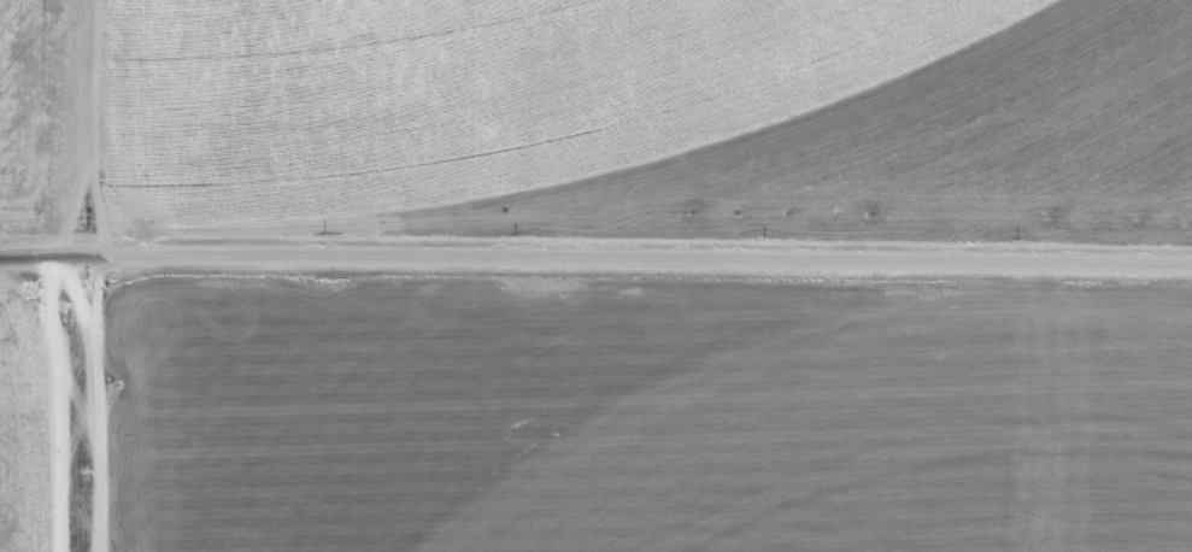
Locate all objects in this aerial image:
road: (86, 137)
road: (595, 274)
road: (49, 413)

